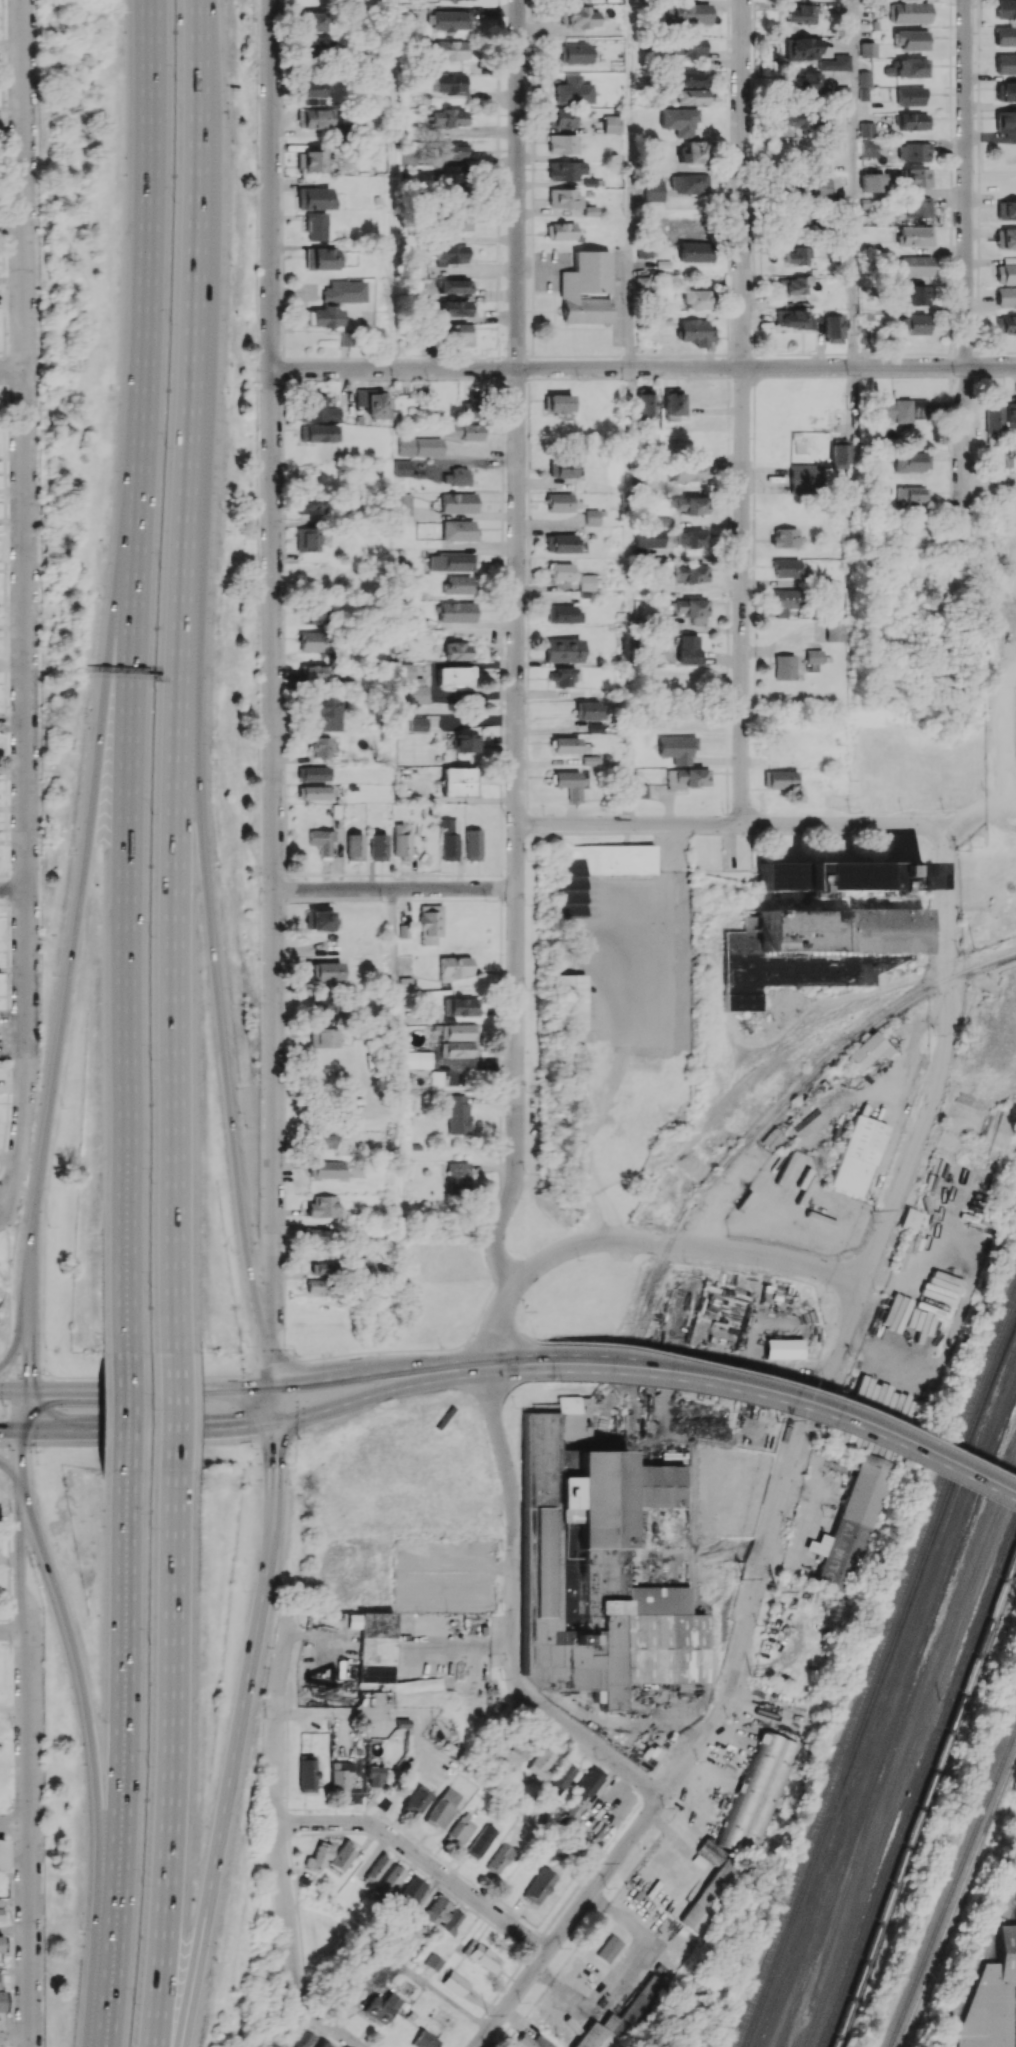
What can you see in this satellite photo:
street lamp: (36, 5)
building: (1005, 8)
building: (909, 12)
building: (793, 13)
building: (689, 14)
building: (578, 16)
building: (451, 20)
building: (312, 21)
building: (1005, 35)
building: (911, 40)
road: (200, 46)
building: (688, 48)
building: (799, 48)
building: (315, 49)
building: (452, 49)
building: (866, 49)
building: (575, 53)
building: (833, 63)
building: (1005, 64)
street lamp: (256, 67)
building: (908, 68)
street lamp: (174, 83)
building: (450, 83)
building: (804, 83)
building: (862, 85)
building: (687, 88)
building: (573, 90)
building: (1008, 92)
building: (842, 95)
building: (909, 96)
street lamp: (37, 105)
building: (561, 117)
building: (450, 118)
building: (316, 119)
building: (912, 121)
building: (1005, 121)
building: (612, 123)
building: (791, 124)
building: (865, 129)
street lamp: (233, 142)
building: (562, 144)
building: (869, 148)
building: (454, 150)
building: (914, 151)
building: (694, 152)
building: (409, 157)
building: (309, 161)
building: (327, 164)
street lamp: (257, 166)
building: (565, 170)
building: (452, 174)
building: (918, 177)
building: (871, 182)
road: (630, 183)
building: (691, 183)
road: (852, 183)
road: (394, 184)
building: (821, 186)
building: (653, 190)
building: (314, 198)
building: (563, 198)
street lamp: (173, 201)
building: (917, 207)
building: (1006, 210)
building: (797, 218)
building: (457, 223)
building: (315, 226)
building: (560, 231)
building: (915, 236)
building: (1006, 238)
building: (695, 252)
building: (451, 254)
building: (798, 255)
road: (964, 256)
building: (321, 258)
street lamp: (230, 265)
building: (914, 265)
street lamp: (257, 267)
building: (1006, 271)
building: (642, 283)
building: (793, 285)
building: (454, 286)
building: (585, 288)
building: (343, 291)
building: (914, 295)
building: (1006, 297)
building: (695, 299)
building: (454, 304)
street lamp: (37, 306)
road: (194, 316)
building: (324, 317)
building: (791, 318)
building: (916, 324)
building: (1006, 324)
street lamp: (169, 325)
building: (833, 328)
building: (696, 332)
building: (456, 333)
building: (345, 337)
road: (643, 367)
street lamp: (256, 369)
road: (10, 371)
street lamp: (394, 379)
street lamp: (225, 385)
building: (371, 402)
building: (673, 402)
building: (559, 403)
building: (645, 404)
building: (317, 408)
street lamp: (37, 409)
building: (1011, 409)
building: (898, 410)
road: (742, 411)
building: (993, 415)
building: (462, 431)
building: (320, 432)
road: (21, 444)
road: (272, 444)
street lamp: (165, 445)
building: (419, 446)
building: (839, 453)
building: (911, 461)
building: (402, 467)
building: (561, 469)
building: (687, 471)
building: (457, 476)
building: (806, 476)
building: (910, 494)
building: (458, 502)
building: (558, 502)
building: (308, 504)
building: (402, 505)
building: (692, 505)
road: (853, 505)
street lamp: (222, 508)
street lamp: (39, 512)
building: (591, 516)
building: (665, 520)
building: (458, 530)
building: (649, 537)
building: (785, 537)
building: (306, 539)
building: (561, 543)
building: (451, 561)
street lamp: (159, 566)
building: (786, 567)
building: (560, 571)
building: (691, 573)
street lamp: (257, 574)
building: (587, 581)
building: (459, 584)
road: (122, 587)
road: (629, 595)
street lamp: (98, 596)
building: (786, 602)
building: (692, 609)
building: (457, 611)
building: (312, 614)
building: (563, 614)
street lamp: (39, 617)
building: (835, 630)
street lamp: (215, 633)
building: (311, 641)
road: (517, 646)
building: (687, 649)
building: (456, 650)
building: (563, 650)
building: (814, 656)
building: (784, 667)
building: (405, 670)
building: (311, 672)
street lamp: (258, 674)
building: (454, 675)
road: (131, 676)
building: (561, 676)
street lamp: (154, 690)
building: (419, 694)
building: (588, 710)
building: (324, 713)
street lamp: (85, 721)
building: (418, 724)
building: (466, 742)
building: (565, 745)
building: (319, 746)
street lamp: (212, 759)
building: (589, 760)
building: (314, 773)
building: (688, 778)
street lamp: (259, 779)
building: (779, 779)
building: (458, 782)
building: (567, 784)
building: (641, 791)
building: (313, 792)
road: (977, 808)
street lamp: (151, 815)
road: (730, 823)
street lamp: (40, 836)
building: (449, 839)
building: (321, 841)
building: (401, 842)
building: (473, 844)
building: (355, 847)
building: (378, 847)
street lamp: (69, 853)
building: (595, 869)
building: (839, 874)
street lamp: (220, 881)
road: (11, 888)
road: (394, 888)
street lamp: (259, 890)
building: (317, 920)
building: (430, 924)
street lamp: (149, 936)
road: (213, 939)
street lamp: (40, 940)
road: (174, 945)
building: (816, 948)
parking lot: (627, 961)
building: (455, 967)
building: (326, 971)
street lamp: (53, 974)
road: (393, 992)
road: (64, 997)
street lamp: (234, 1002)
building: (323, 1002)
building: (571, 1003)
street lamp: (258, 1006)
building: (460, 1006)
building: (458, 1031)
road: (627, 1036)
building: (322, 1037)
street lamp: (39, 1041)
road: (24, 1047)
building: (458, 1049)
building: (867, 1051)
street lamp: (149, 1058)
building: (417, 1059)
street lamp: (260, 1095)
street lamp: (59, 1104)
railway: (782, 1105)
road: (273, 1112)
building: (459, 1114)
street lamp: (247, 1127)
building: (323, 1140)
road: (919, 1141)
building: (857, 1155)
building: (326, 1169)
building: (962, 1172)
building: (458, 1176)
street lamp: (149, 1182)
street lamp: (260, 1195)
building: (322, 1206)
building: (910, 1219)
street lamp: (48, 1226)
building: (320, 1235)
road: (689, 1245)
street lamp: (232, 1251)
building: (325, 1268)
street lamp: (149, 1285)
building: (314, 1285)
road: (8, 1286)
street lamp: (523, 1310)
road: (510, 1333)
street lamp: (534, 1335)
road: (19, 1338)
street lamp: (44, 1343)
street lamp: (247, 1344)
street lamp: (439, 1345)
road: (28, 1346)
building: (782, 1348)
road: (366, 1350)
street lamp: (294, 1353)
road: (267, 1361)
road: (522, 1362)
street lamp: (243, 1370)
road: (382, 1371)
street lamp: (46, 1376)
street lamp: (557, 1383)
road: (792, 1386)
road: (231, 1387)
traffic signals: (270, 1387)
road: (109, 1388)
road: (13, 1389)
traffic signals: (26, 1389)
road: (383, 1391)
road: (791, 1399)
road: (271, 1404)
building: (568, 1404)
street lamp: (149, 1406)
street lamp: (378, 1406)
road: (23, 1408)
road: (129, 1411)
road: (175, 1411)
traffic signals: (273, 1422)
road: (10, 1428)
traffic signals: (21, 1428)
road: (44, 1428)
road: (170, 1428)
street lamp: (299, 1438)
street lamp: (250, 1447)
street lamp: (36, 1452)
road: (21, 1454)
street lamp: (36, 1464)
road: (12, 1469)
road: (508, 1478)
street lamp: (250, 1484)
building: (651, 1486)
building: (853, 1524)
street lamp: (149, 1528)
road: (21, 1555)
road: (458, 1565)
street lamp: (39, 1584)
street lamp: (245, 1589)
road: (14, 1630)
street lamp: (149, 1641)
road: (465, 1645)
street lamp: (11, 1647)
building: (372, 1650)
railway: (867, 1656)
railway: (874, 1673)
railway: (880, 1682)
street lamp: (70, 1703)
street lamp: (225, 1708)
street lamp: (265, 1718)
road: (239, 1720)
road: (92, 1741)
road: (589, 1741)
building: (520, 1749)
road: (169, 1758)
road: (123, 1759)
building: (539, 1763)
road: (685, 1763)
street lamp: (146, 1764)
building: (306, 1773)
building: (339, 1775)
building: (374, 1776)
building: (560, 1778)
building: (587, 1783)
railway: (921, 1789)
building: (754, 1792)
building: (416, 1800)
railway: (927, 1803)
street lamp: (262, 1806)
road: (277, 1808)
building: (441, 1808)
street lamp: (81, 1810)
building: (569, 1816)
street lamp: (381, 1817)
road: (14, 1823)
street lamp: (239, 1830)
building: (460, 1831)
road: (29, 1838)
building: (480, 1841)
building: (2, 1855)
building: (342, 1856)
building: (317, 1857)
road: (423, 1858)
building: (499, 1859)
building: (376, 1869)
building: (1015, 1880)
building: (388, 1882)
street lamp: (140, 1884)
building: (538, 1885)
building: (712, 1886)
railway: (953, 1890)
building: (410, 1891)
railway: (958, 1902)
building: (435, 1910)
building: (0, 1915)
building: (450, 1923)
street lamp: (79, 1928)
road: (14, 1933)
building: (0, 1944)
building: (608, 1948)
building: (482, 1956)
street lamp: (215, 1960)
building: (433, 1961)
railway: (740, 1963)
road: (407, 1968)
building: (455, 1983)
street lamp: (287, 1996)
building: (990, 1996)
building: (1, 2002)
street lamp: (132, 2003)
building: (382, 2007)
building: (619, 2019)
railway: (712, 2020)
road: (330, 2024)
road: (179, 2032)
road: (15, 2037)
building: (301, 2038)
building: (425, 2040)
building: (532, 2041)
building: (324, 2045)

